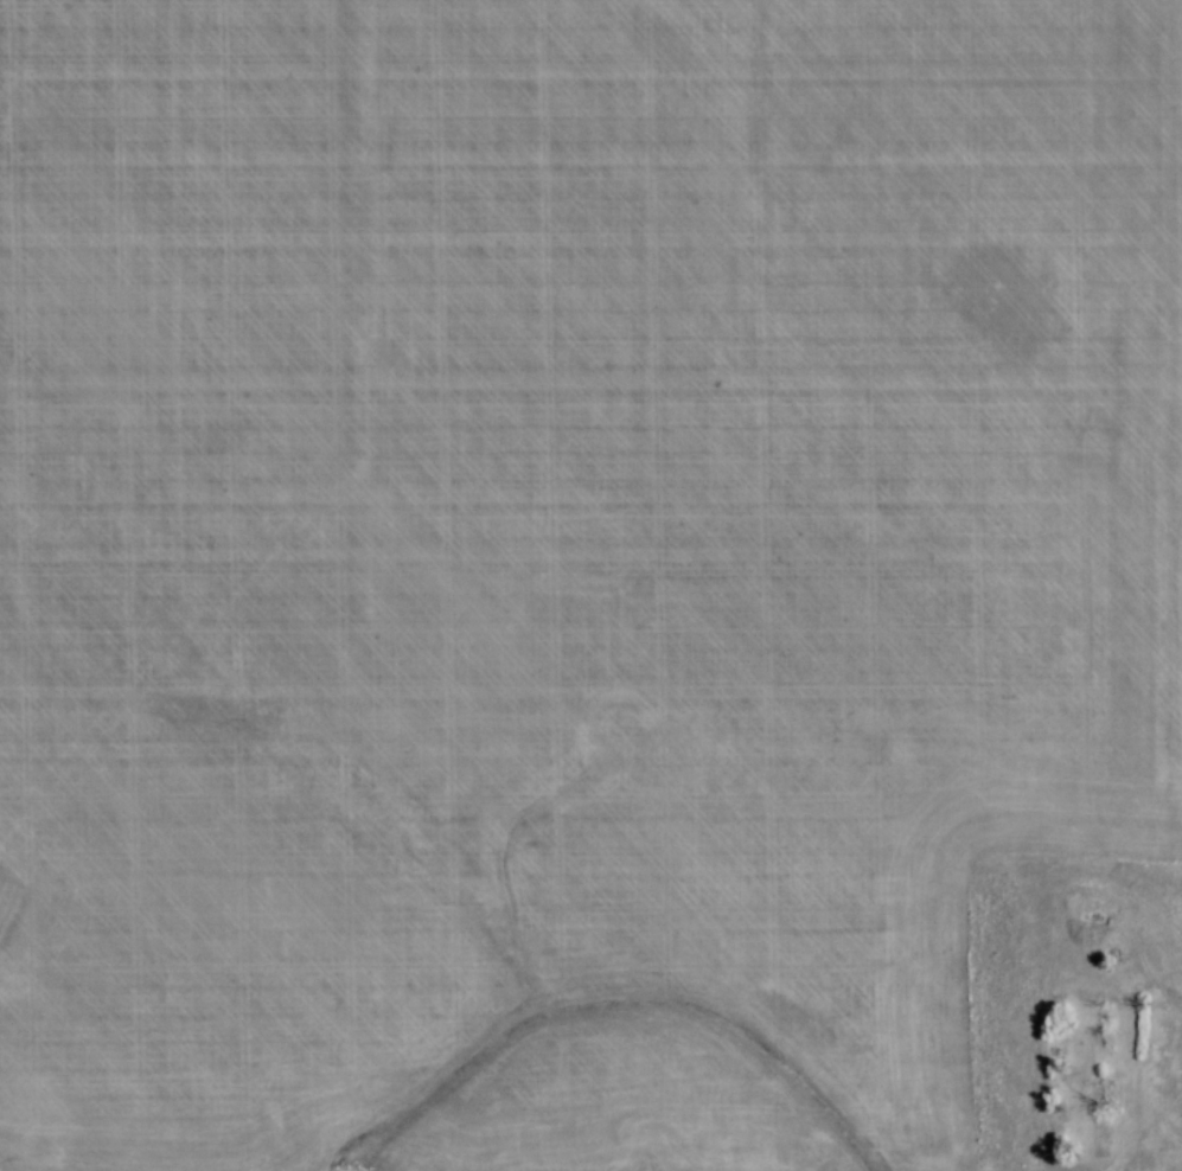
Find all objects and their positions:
crop: (576, 572)

